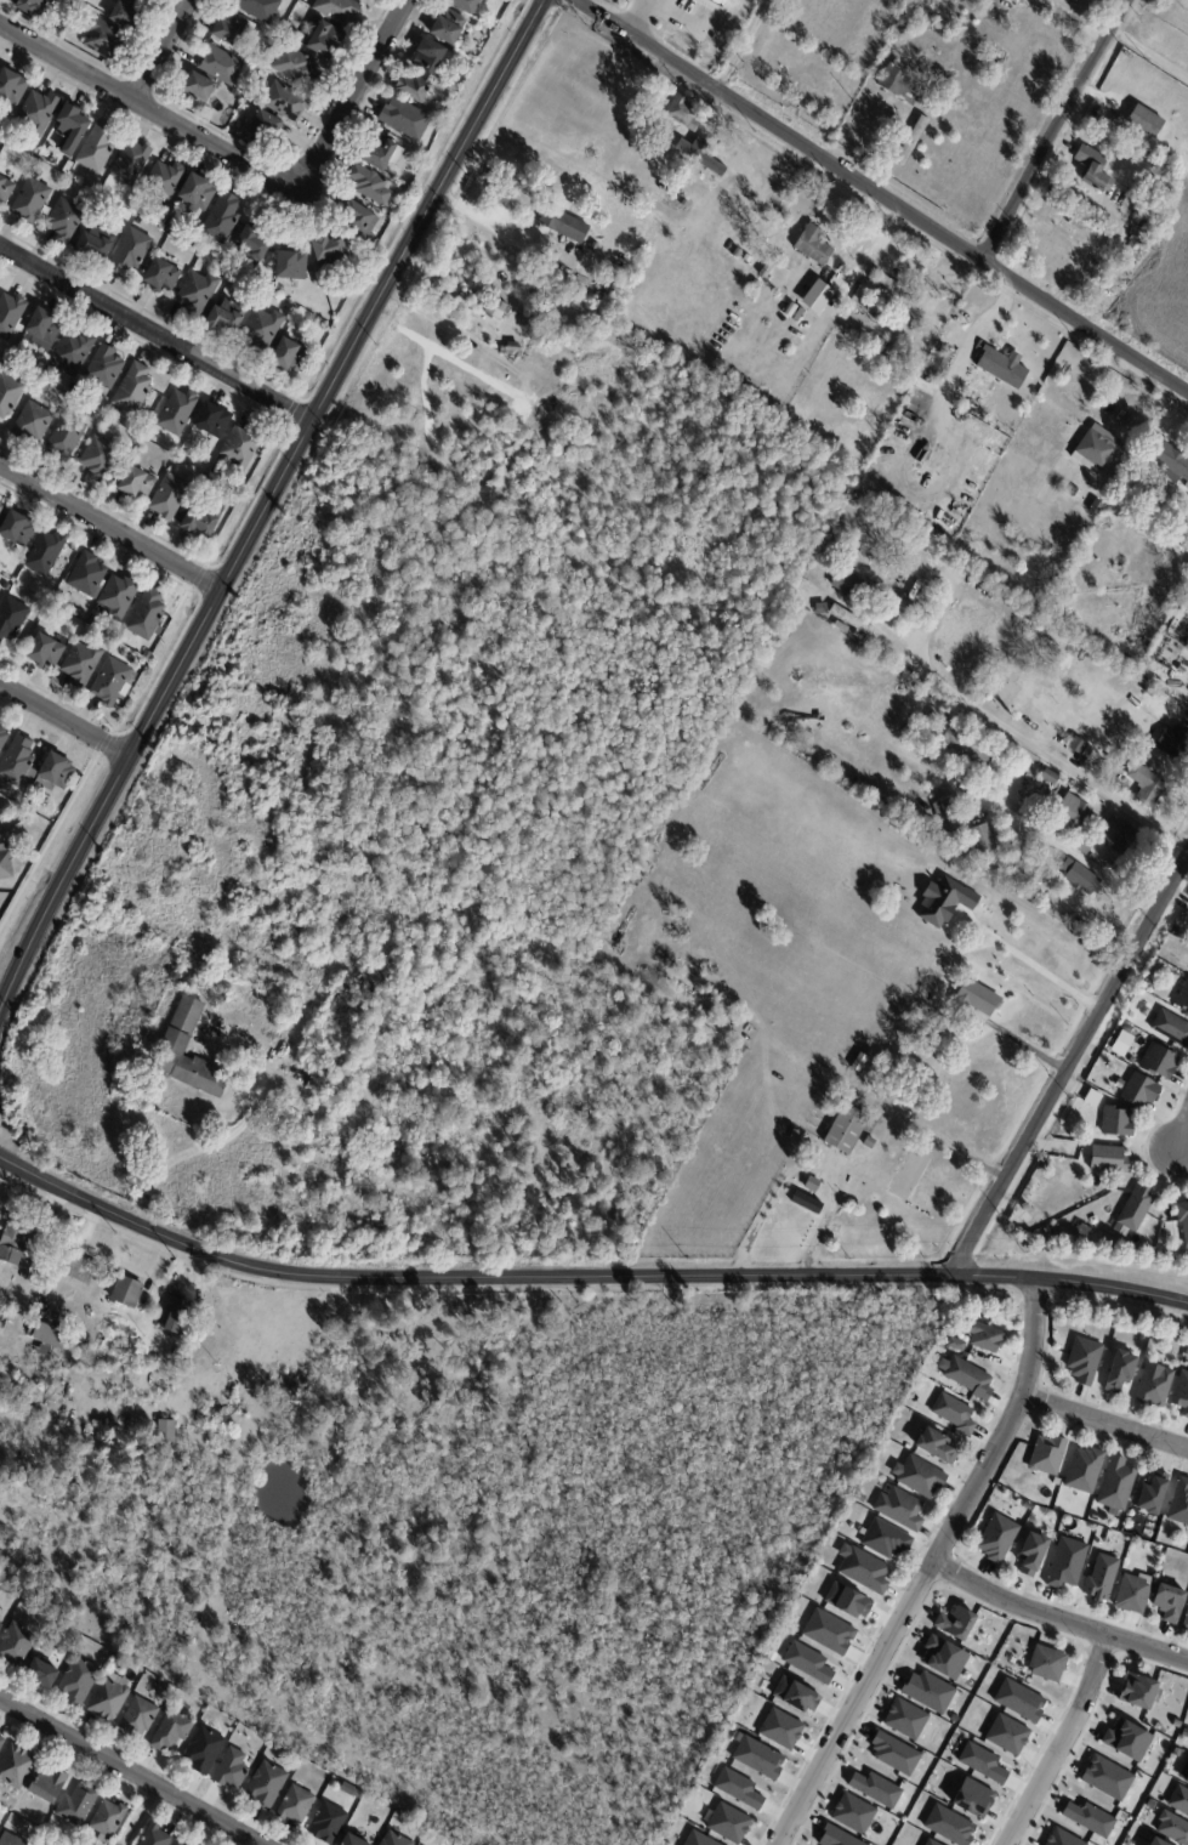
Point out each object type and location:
building: (149, 0)
building: (717, 2)
building: (466, 5)
building: (659, 5)
building: (32, 7)
building: (258, 8)
building: (339, 10)
building: (127, 13)
road: (638, 17)
building: (449, 27)
building: (233, 28)
building: (956, 36)
building: (103, 39)
building: (325, 41)
road: (164, 51)
building: (430, 57)
road: (1153, 57)
building: (220, 64)
building: (297, 68)
building: (812, 73)
building: (903, 85)
building: (12, 87)
building: (416, 90)
building: (199, 92)
road: (356, 96)
building: (451, 98)
building: (288, 103)
road: (150, 109)
building: (38, 113)
building: (684, 114)
building: (405, 119)
building: (1144, 121)
building: (265, 126)
building: (72, 129)
road: (1061, 130)
building: (4, 135)
building: (914, 141)
building: (97, 148)
building: (382, 153)
building: (703, 159)
building: (131, 164)
building: (68, 169)
building: (1097, 169)
building: (165, 182)
building: (371, 186)
building: (5, 191)
building: (198, 193)
road: (881, 195)
building: (30, 201)
building: (684, 204)
building: (66, 221)
building: (223, 221)
building: (362, 222)
building: (564, 225)
building: (172, 226)
building: (1144, 226)
building: (1124, 244)
building: (92, 246)
building: (254, 246)
building: (815, 246)
building: (330, 250)
building: (130, 252)
building: (292, 266)
building: (767, 271)
building: (163, 277)
building: (756, 285)
building: (898, 290)
building: (198, 293)
building: (815, 296)
building: (854, 299)
building: (496, 310)
building: (550, 311)
building: (10, 316)
building: (227, 318)
building: (263, 329)
building: (44, 330)
road: (157, 333)
building: (863, 334)
building: (511, 350)
building: (891, 350)
building: (74, 353)
building: (290, 357)
building: (942, 363)
building: (104, 369)
building: (1004, 369)
building: (50, 374)
building: (44, 388)
building: (133, 391)
building: (8, 396)
building: (1073, 405)
building: (113, 414)
building: (178, 414)
building: (214, 422)
building: (33, 424)
building: (66, 439)
building: (241, 452)
building: (1092, 452)
building: (101, 456)
building: (1170, 461)
building: (1113, 483)
building: (137, 487)
building: (1187, 487)
building: (172, 496)
road: (265, 507)
building: (1, 510)
building: (182, 518)
building: (204, 520)
road: (109, 529)
building: (17, 530)
building: (887, 534)
building: (481, 538)
building: (870, 544)
building: (45, 555)
building: (934, 566)
building: (87, 577)
building: (847, 586)
building: (812, 592)
building: (118, 600)
building: (1064, 600)
building: (905, 607)
building: (822, 609)
building: (148, 617)
building: (851, 619)
building: (11, 620)
building: (93, 623)
building: (78, 631)
building: (45, 654)
building: (147, 655)
building: (124, 657)
building: (83, 665)
building: (1182, 670)
building: (113, 685)
building: (947, 717)
building: (1119, 719)
building: (0, 721)
road: (64, 721)
building: (0, 722)
building: (2, 737)
road: (1028, 743)
building: (1173, 744)
building: (970, 746)
building: (1101, 760)
building: (19, 761)
building: (55, 772)
building: (1052, 777)
building: (930, 785)
building: (1150, 785)
building: (0, 788)
building: (1075, 814)
building: (950, 816)
building: (984, 839)
building: (1110, 841)
building: (6, 863)
building: (1082, 878)
road: (1042, 972)
building: (379, 977)
building: (955, 980)
building: (1182, 997)
building: (980, 998)
building: (709, 1009)
building: (1170, 1027)
building: (176, 1041)
building: (1130, 1060)
building: (1156, 1061)
road: (1076, 1065)
building: (325, 1075)
building: (1112, 1079)
building: (1138, 1089)
building: (1115, 1120)
building: (846, 1126)
building: (1068, 1134)
road: (223, 1139)
road: (1183, 1139)
building: (806, 1140)
building: (1107, 1158)
building: (1046, 1166)
building: (905, 1175)
building: (814, 1185)
building: (1025, 1207)
building: (1135, 1207)
building: (803, 1210)
building: (1182, 1219)
building: (869, 1220)
building: (1165, 1234)
building: (24, 1249)
building: (80, 1270)
road: (582, 1279)
building: (127, 1293)
building: (177, 1317)
building: (49, 1335)
building: (983, 1335)
building: (955, 1344)
building: (85, 1349)
building: (1186, 1351)
building: (1082, 1358)
building: (1119, 1372)
building: (968, 1378)
building: (1154, 1386)
building: (1181, 1392)
building: (954, 1413)
road: (1108, 1424)
building: (166, 1430)
building: (933, 1444)
building: (1046, 1454)
building: (1082, 1469)
building: (917, 1476)
building: (1115, 1483)
building: (1152, 1493)
building: (859, 1497)
building: (1180, 1503)
building: (1027, 1505)
building: (898, 1508)
building: (1093, 1516)
building: (1107, 1537)
building: (996, 1538)
building: (885, 1539)
building: (1031, 1552)
building: (1065, 1563)
road: (930, 1567)
building: (862, 1569)
building: (1099, 1577)
building: (1131, 1593)
building: (846, 1600)
building: (1167, 1602)
building: (1184, 1619)
road: (1056, 1620)
building: (954, 1623)
building: (1, 1628)
building: (828, 1631)
building: (16, 1645)
building: (943, 1657)
building: (807, 1662)
building: (1045, 1663)
building: (42, 1673)
building: (79, 1680)
building: (927, 1691)
building: (1136, 1691)
building: (795, 1694)
building: (109, 1698)
building: (1018, 1701)
building: (138, 1718)
building: (953, 1718)
building: (904, 1719)
building: (1176, 1722)
building: (779, 1728)
building: (172, 1730)
building: (1006, 1735)
building: (1126, 1739)
building: (1, 1742)
road: (1062, 1743)
building: (205, 1750)
building: (1175, 1752)
building: (893, 1753)
building: (757, 1758)
building: (980, 1762)
building: (16, 1767)
road: (131, 1770)
building: (232, 1770)
building: (1105, 1777)
building: (1186, 1778)
building: (49, 1784)
building: (267, 1784)
building: (738, 1788)
building: (874, 1789)
building: (972, 1798)
building: (1178, 1800)
building: (1149, 1804)
building: (78, 1805)
building: (296, 1805)
building: (852, 1813)
building: (1088, 1818)
building: (108, 1821)
building: (329, 1823)
building: (727, 1823)
building: (948, 1824)
building: (1172, 1828)
building: (155, 1837)
building: (835, 1837)
building: (1062, 1838)
building: (396, 1839)
building: (697, 1839)
building: (10, 1840)
building: (354, 1840)
building: (1155, 1841)
building: (181, 1843)
building: (930, 1843)

